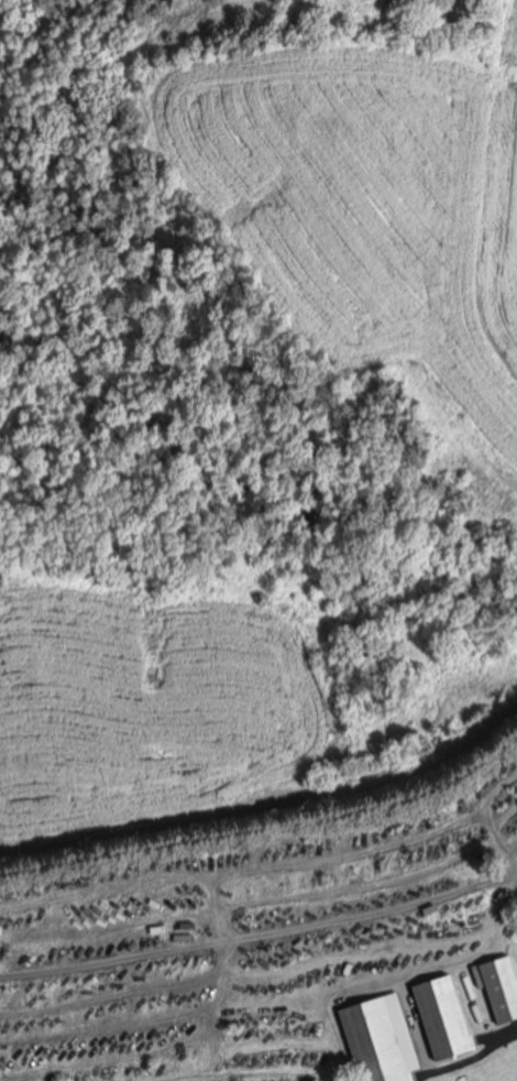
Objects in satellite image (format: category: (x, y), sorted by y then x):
road: (267, 804)
building: (501, 980)
building: (381, 1035)
road: (473, 1056)

